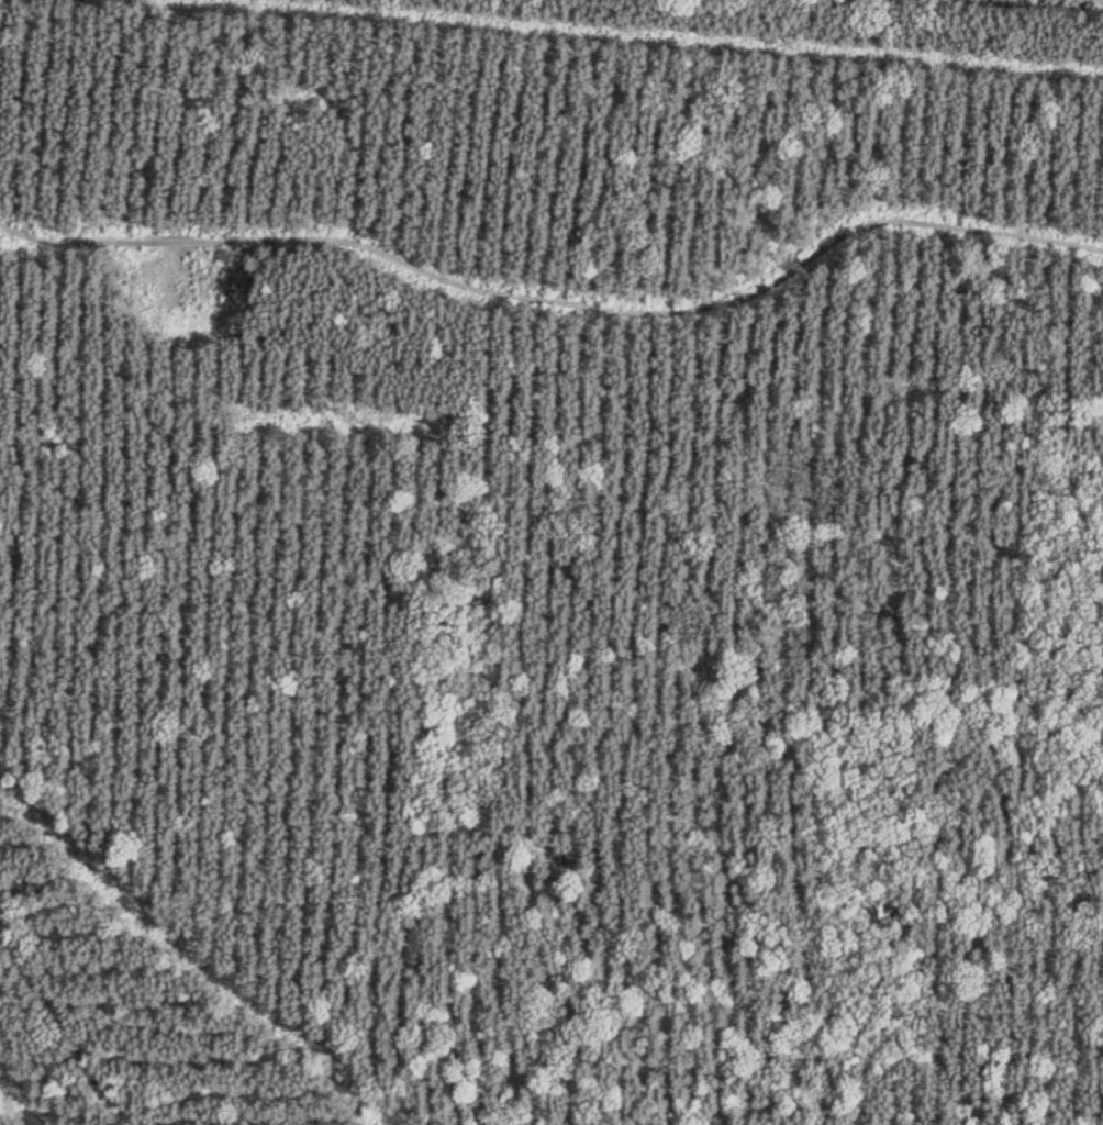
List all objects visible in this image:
road: (52, 1025)

